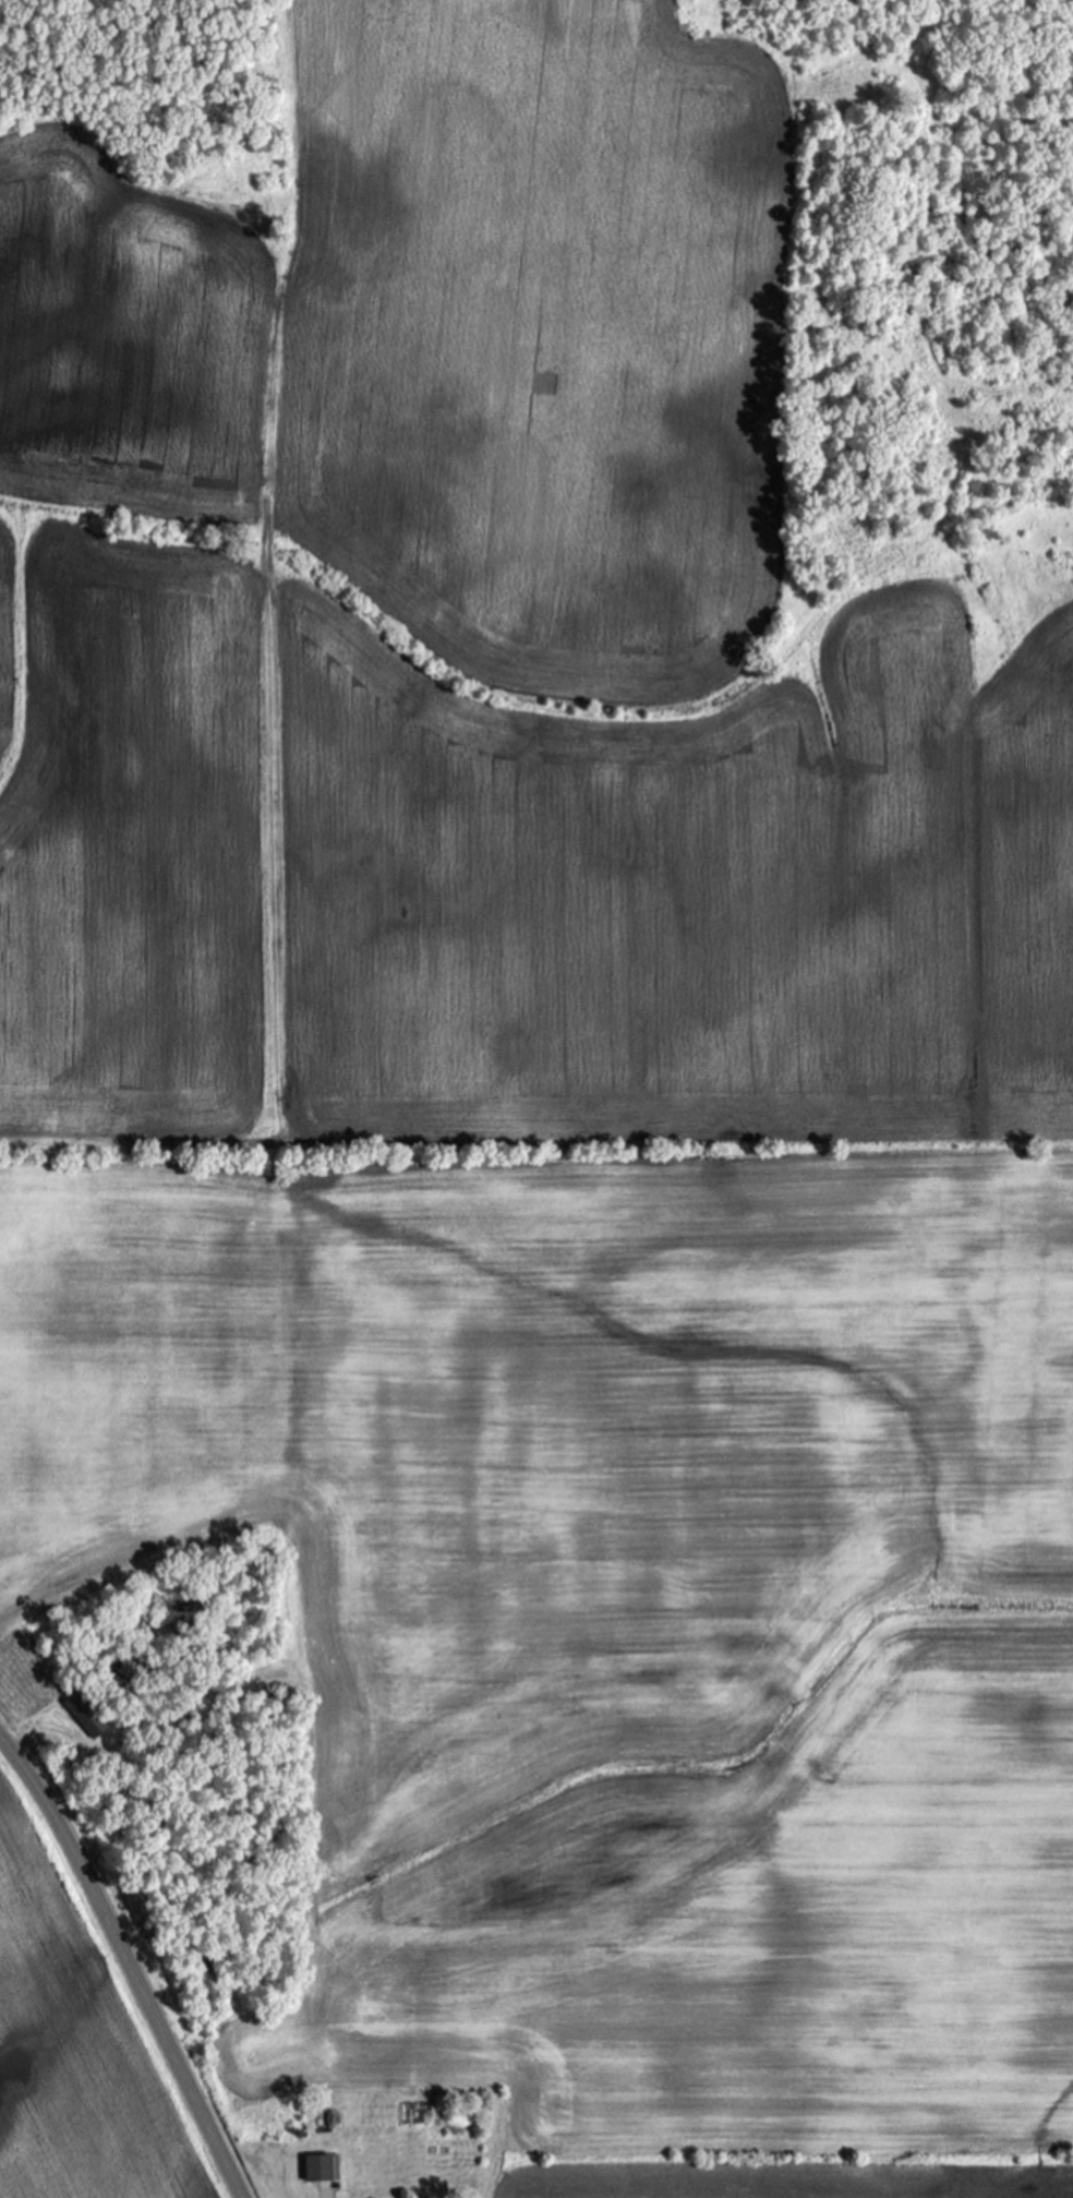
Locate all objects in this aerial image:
building: (83, 1711)
road: (125, 1969)
building: (318, 2166)

